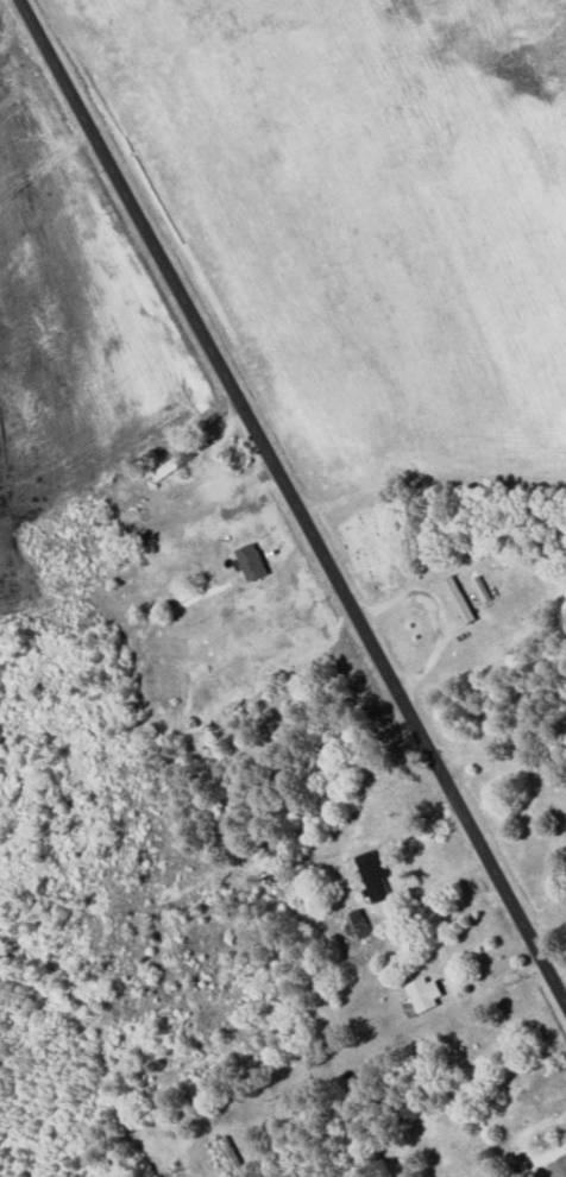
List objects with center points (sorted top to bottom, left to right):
road: (291, 504)
building: (251, 562)
building: (459, 602)
building: (373, 877)
building: (422, 995)
building: (559, 1167)

